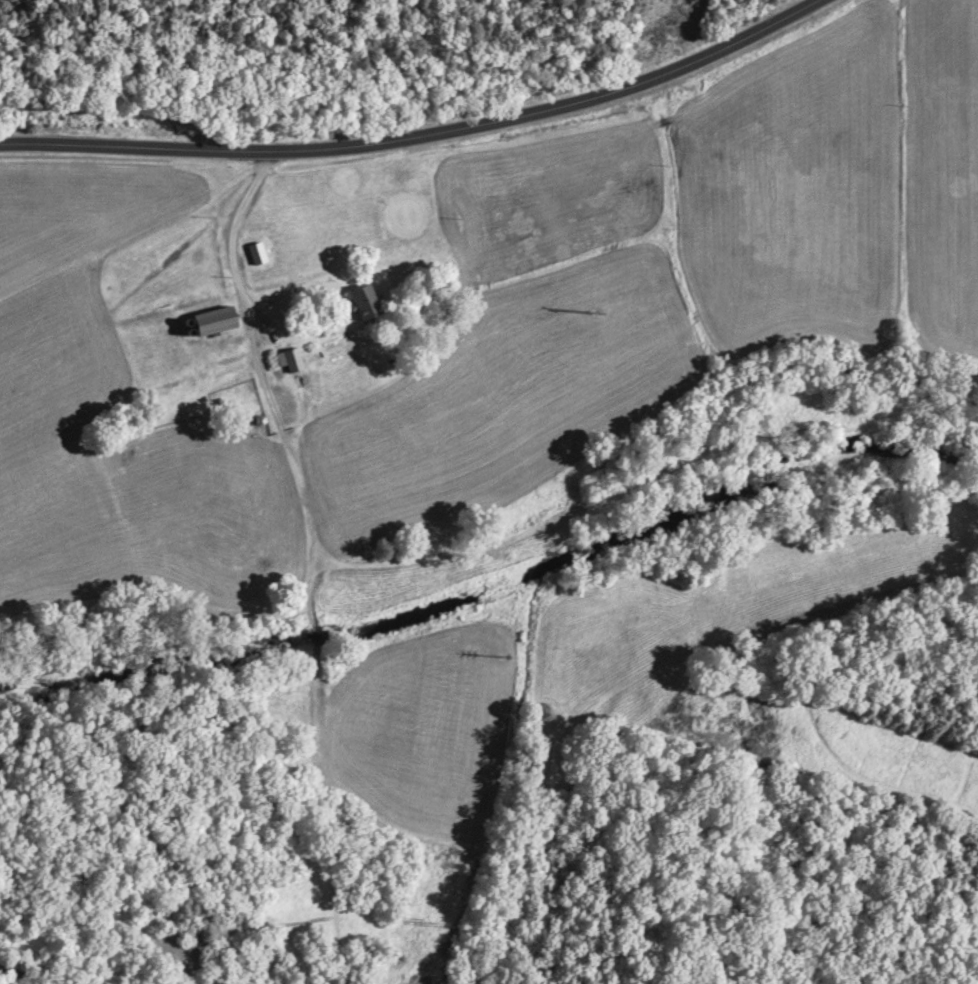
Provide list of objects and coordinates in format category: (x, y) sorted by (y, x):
road: (427, 139)
road: (229, 238)
building: (257, 256)
building: (365, 304)
power tower: (593, 313)
building: (215, 323)
building: (290, 362)
power tower: (426, 920)
building: (12, 972)

